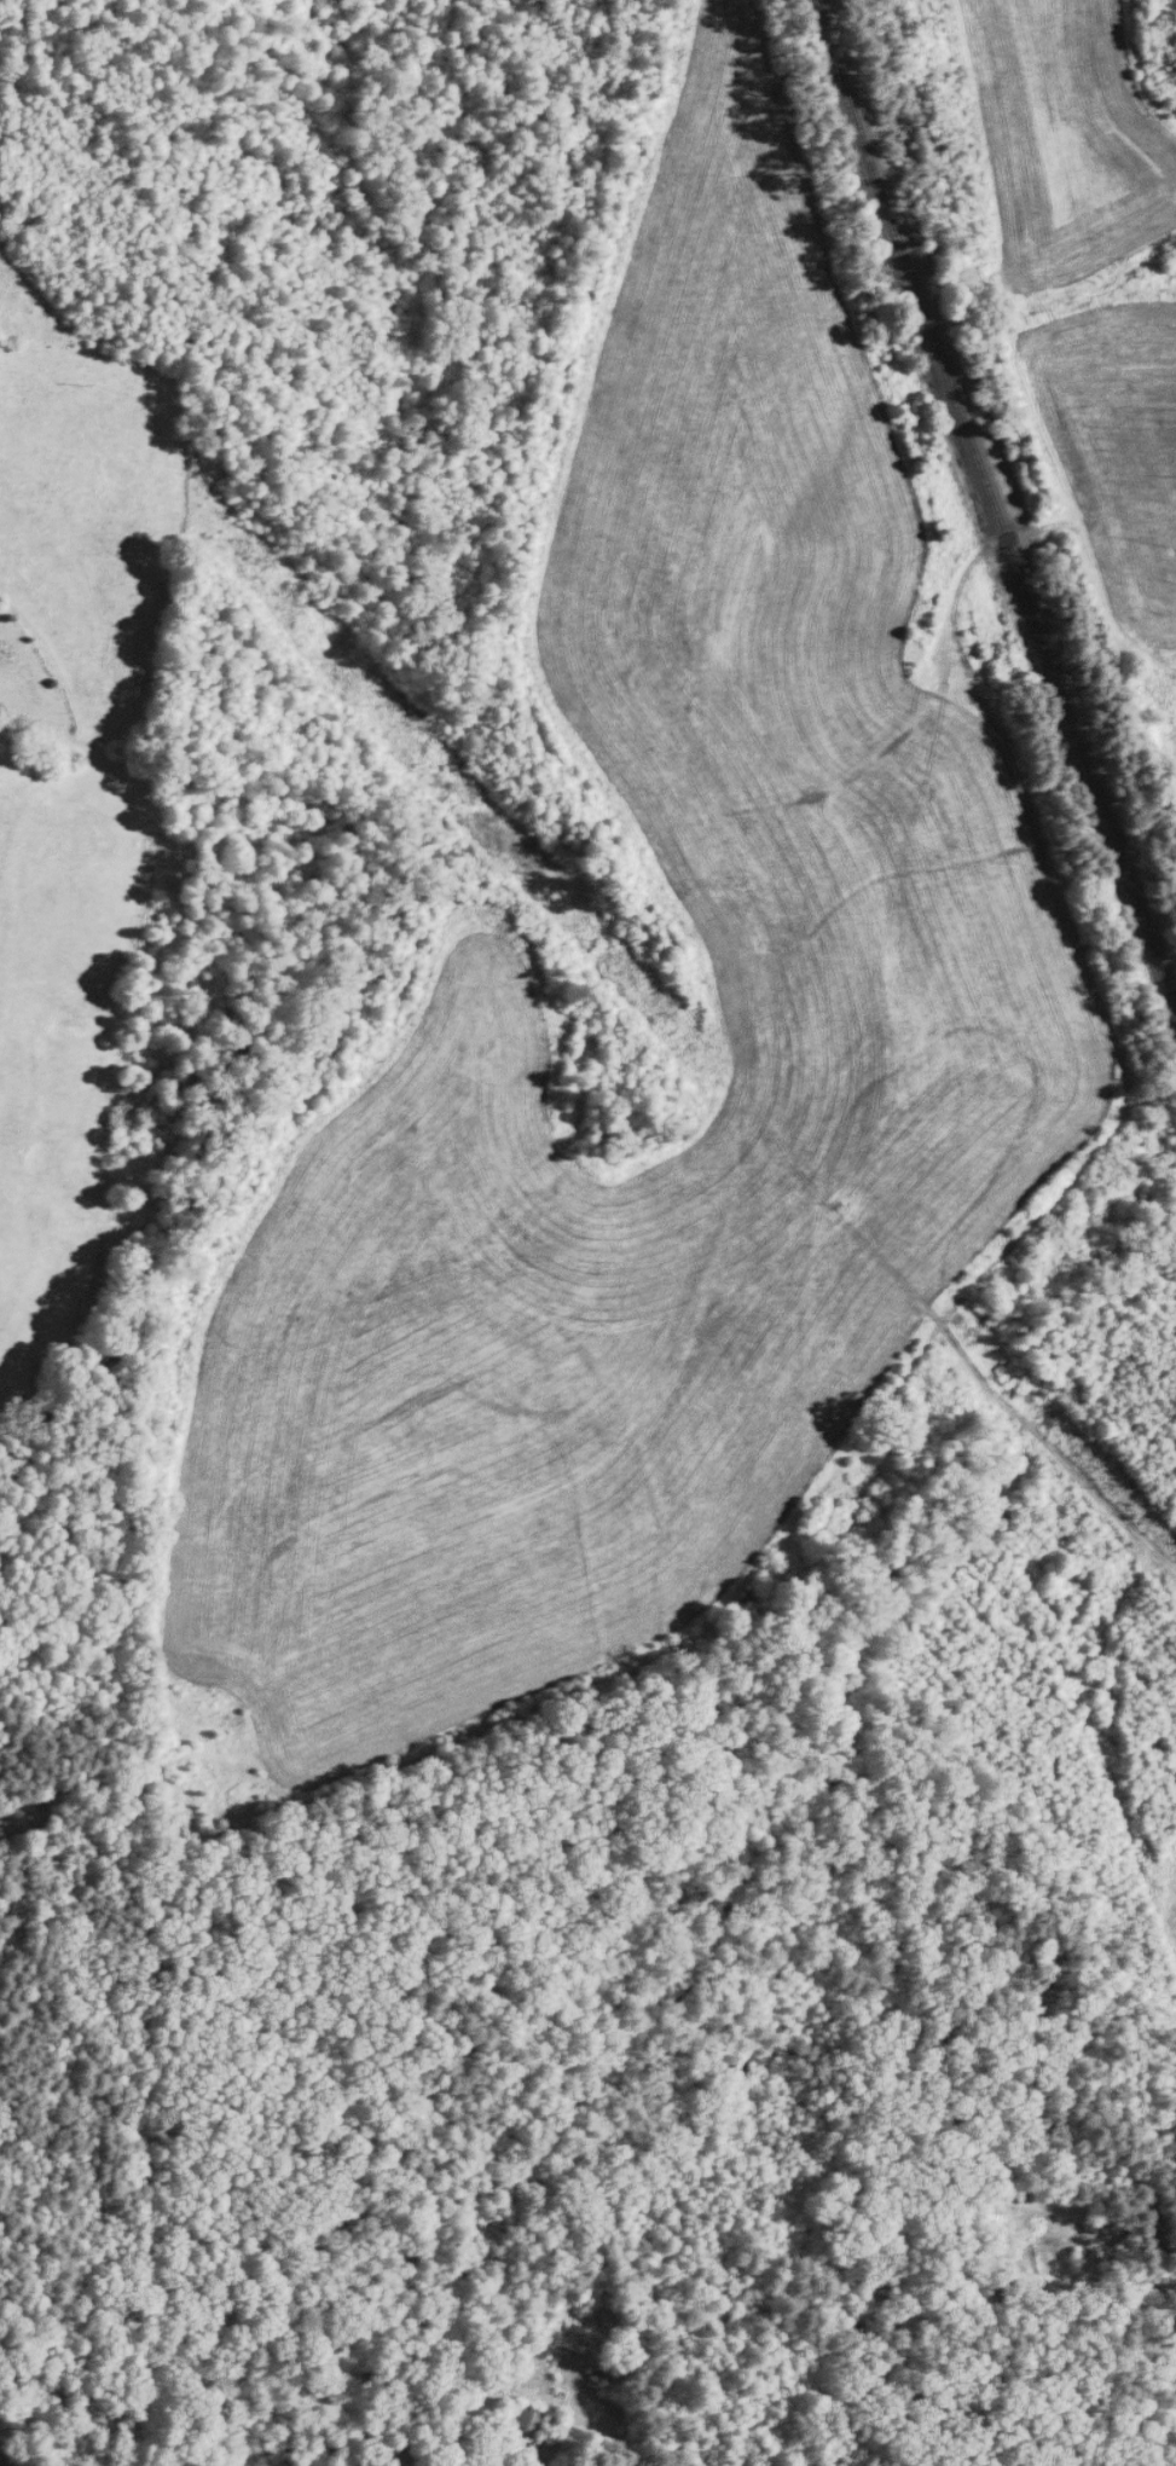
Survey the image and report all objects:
railway: (990, 509)
building: (1168, 719)
building: (166, 1791)
road: (60, 1793)
building: (526, 2424)

